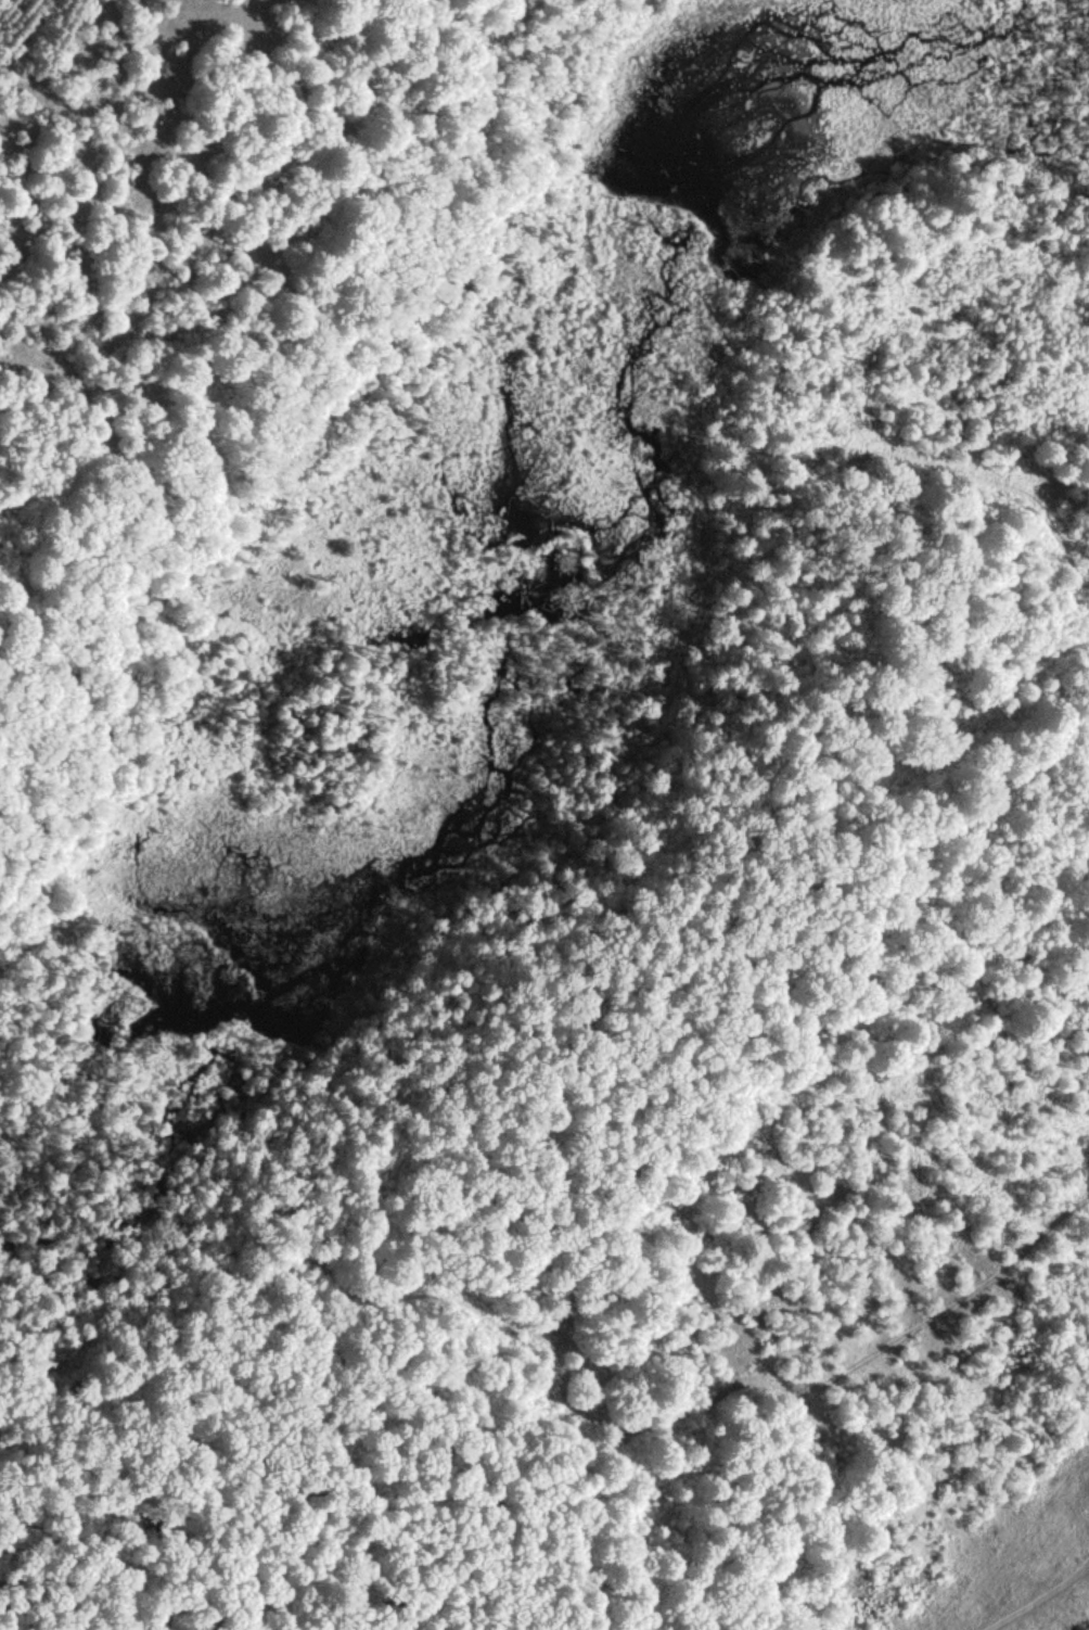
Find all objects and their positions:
river: (554, 531)

